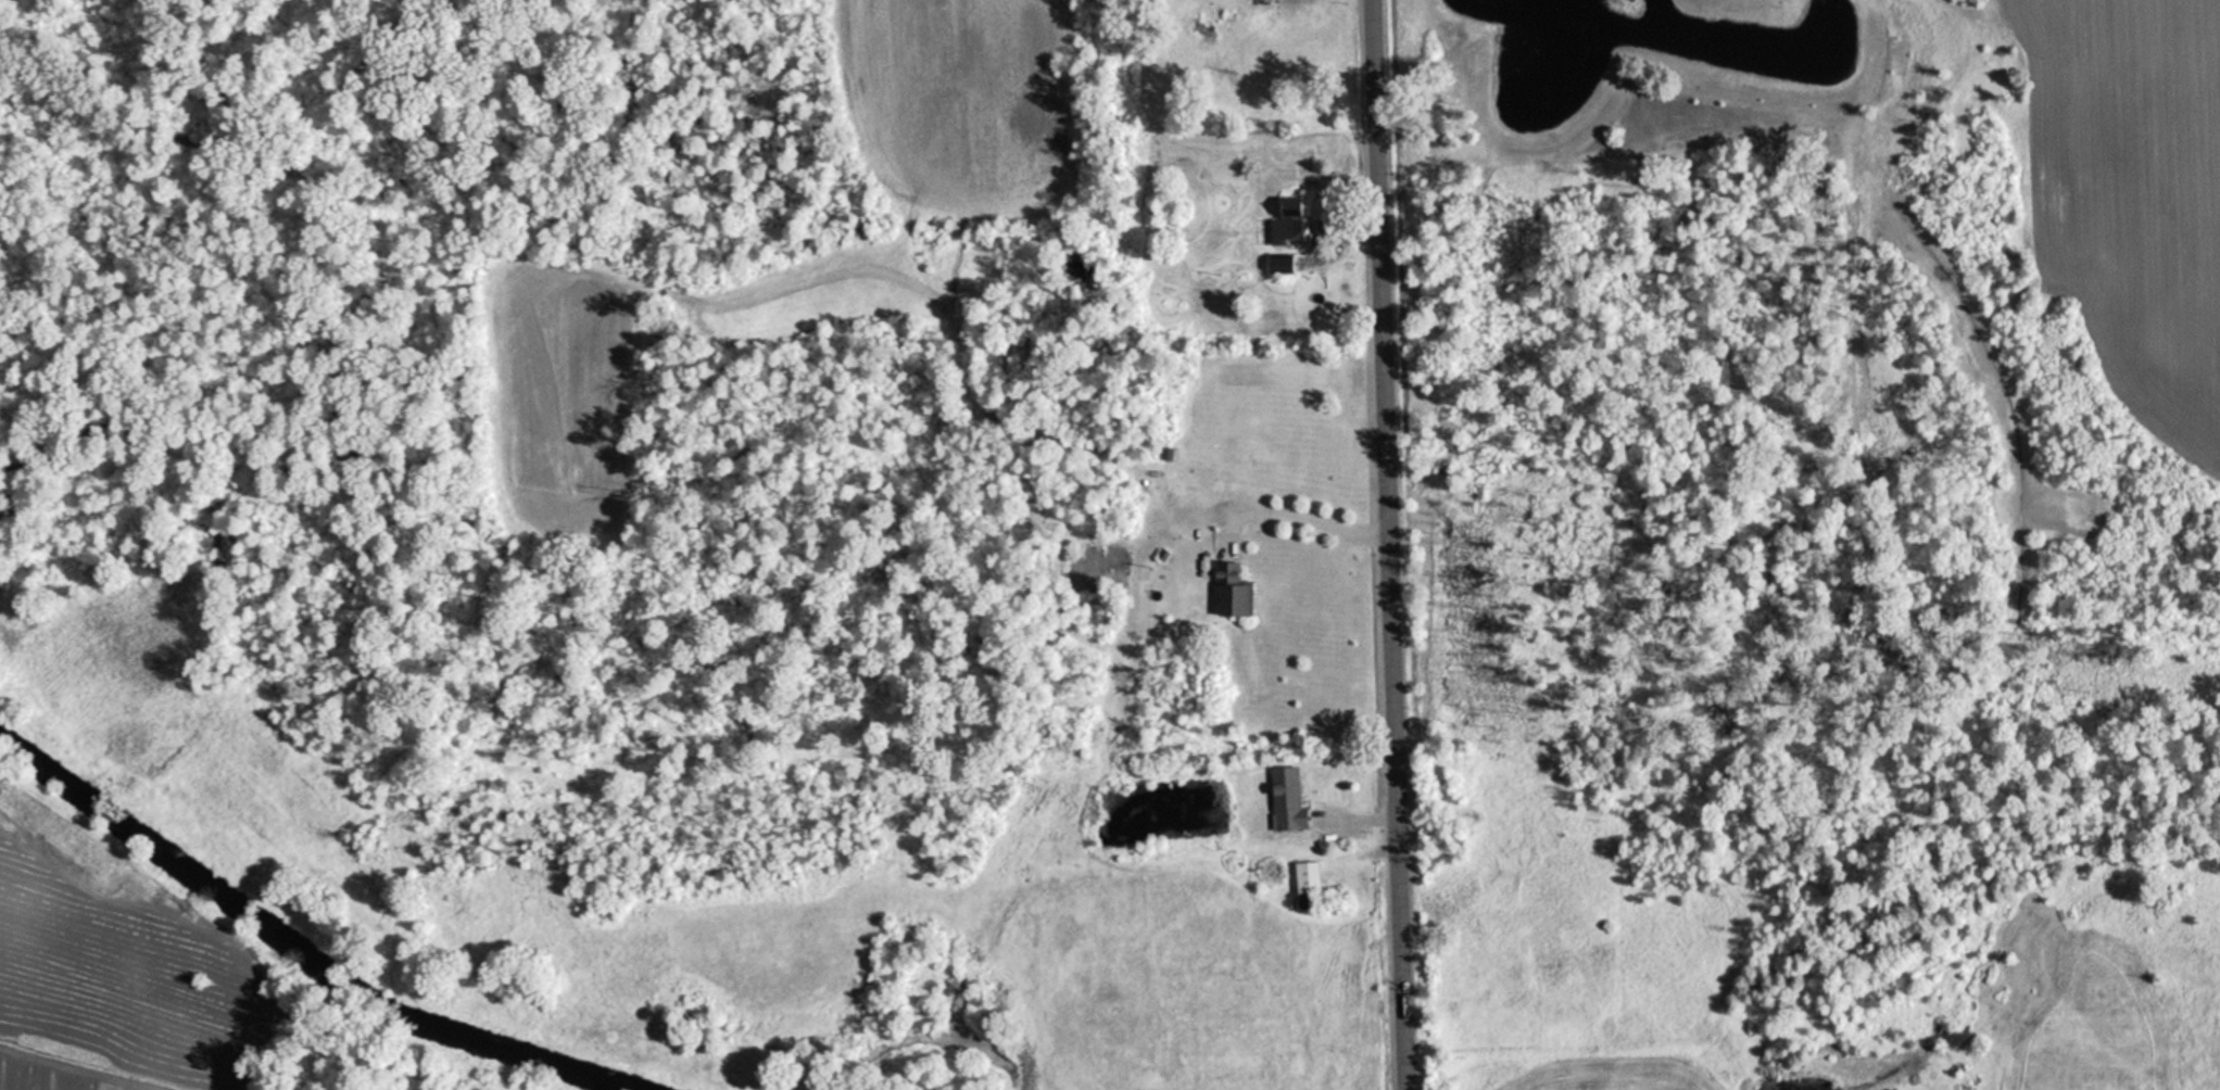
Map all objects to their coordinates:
building: (1258, 1)
building: (1286, 221)
building: (1276, 264)
road: (1387, 545)
building: (1228, 592)
building: (1283, 800)
building: (1302, 877)
river: (297, 948)

